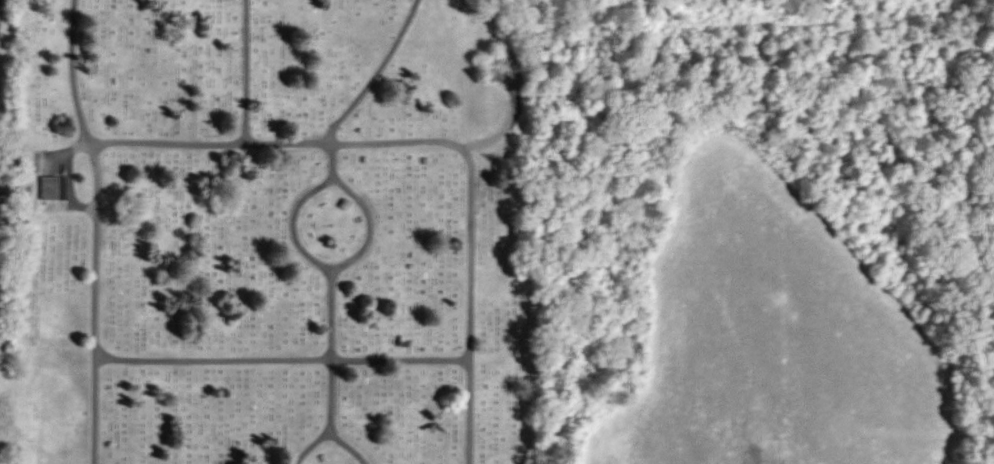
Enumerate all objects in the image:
road: (75, 73)
road: (240, 147)
road: (466, 152)
road: (96, 178)
road: (70, 182)
building: (55, 186)
park: (262, 234)
road: (93, 338)

